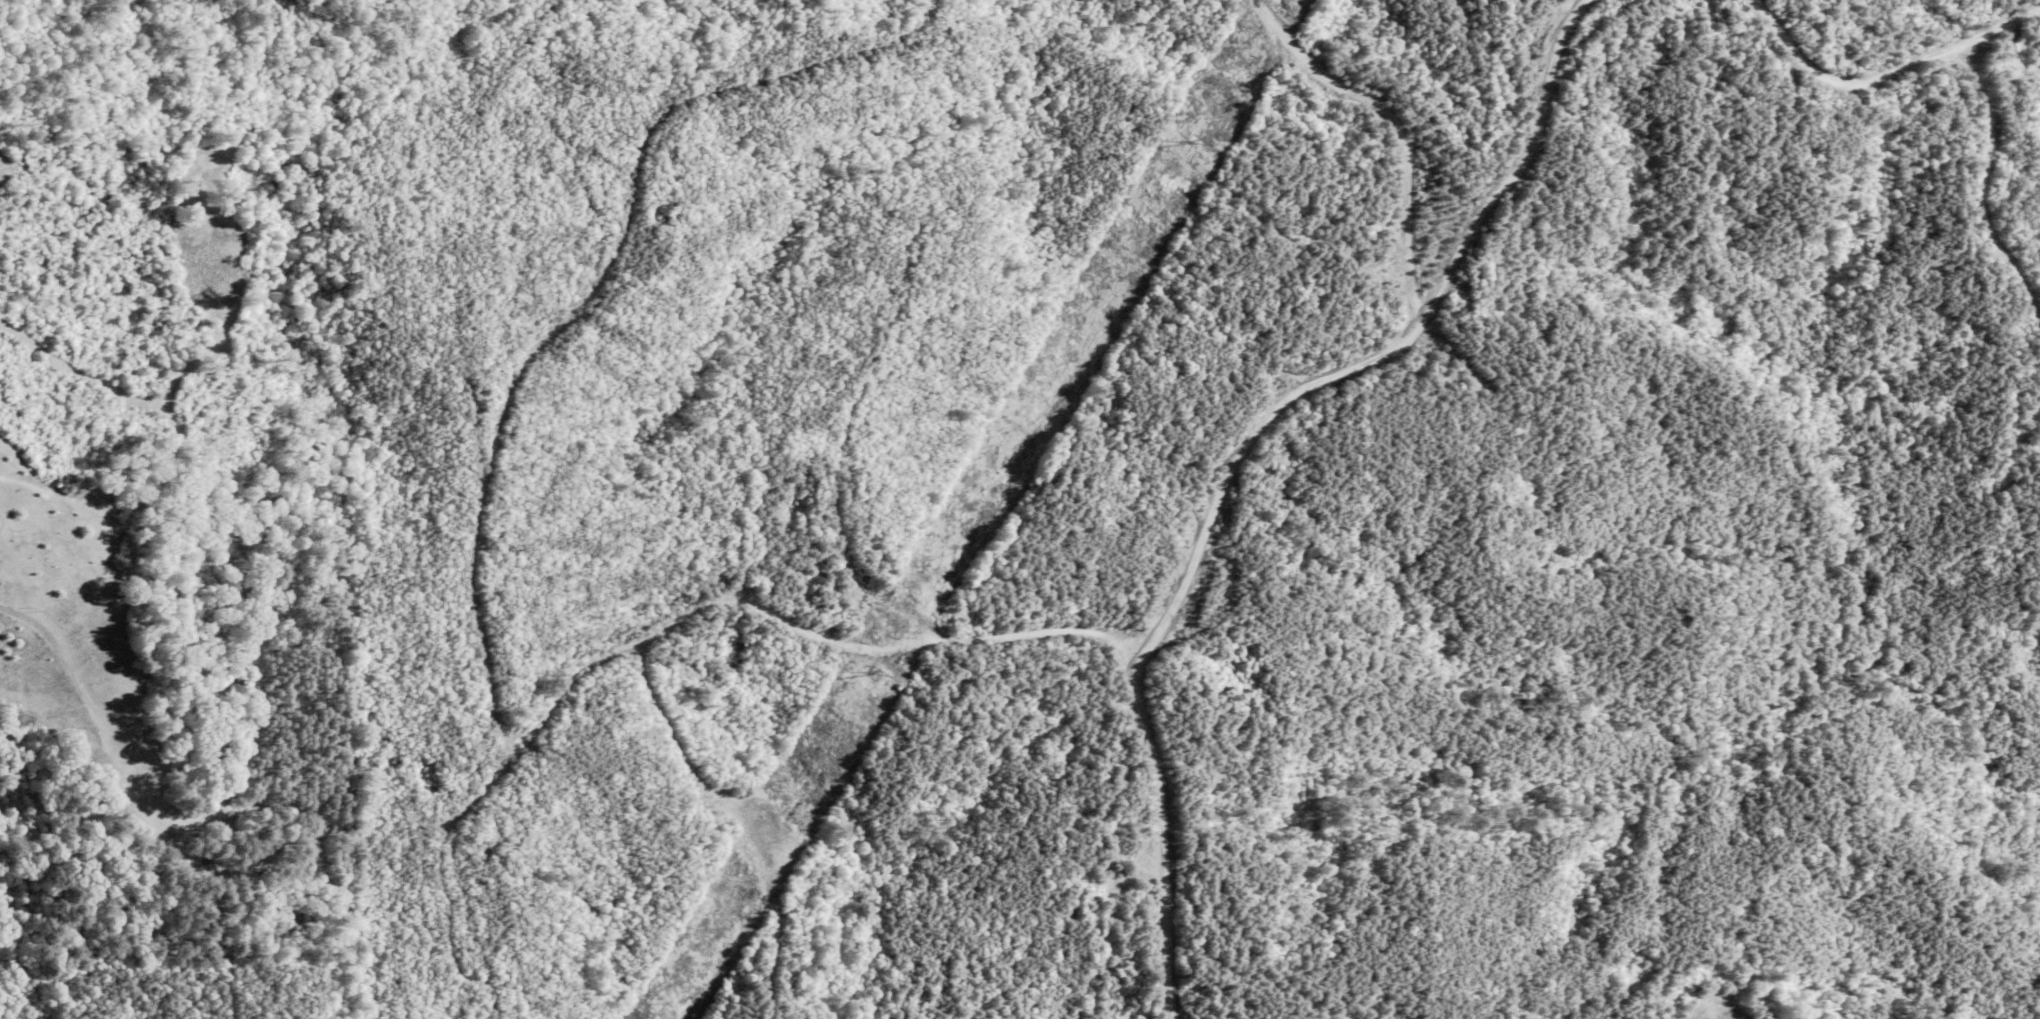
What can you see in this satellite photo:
power tower: (1194, 143)
power tower: (875, 672)

